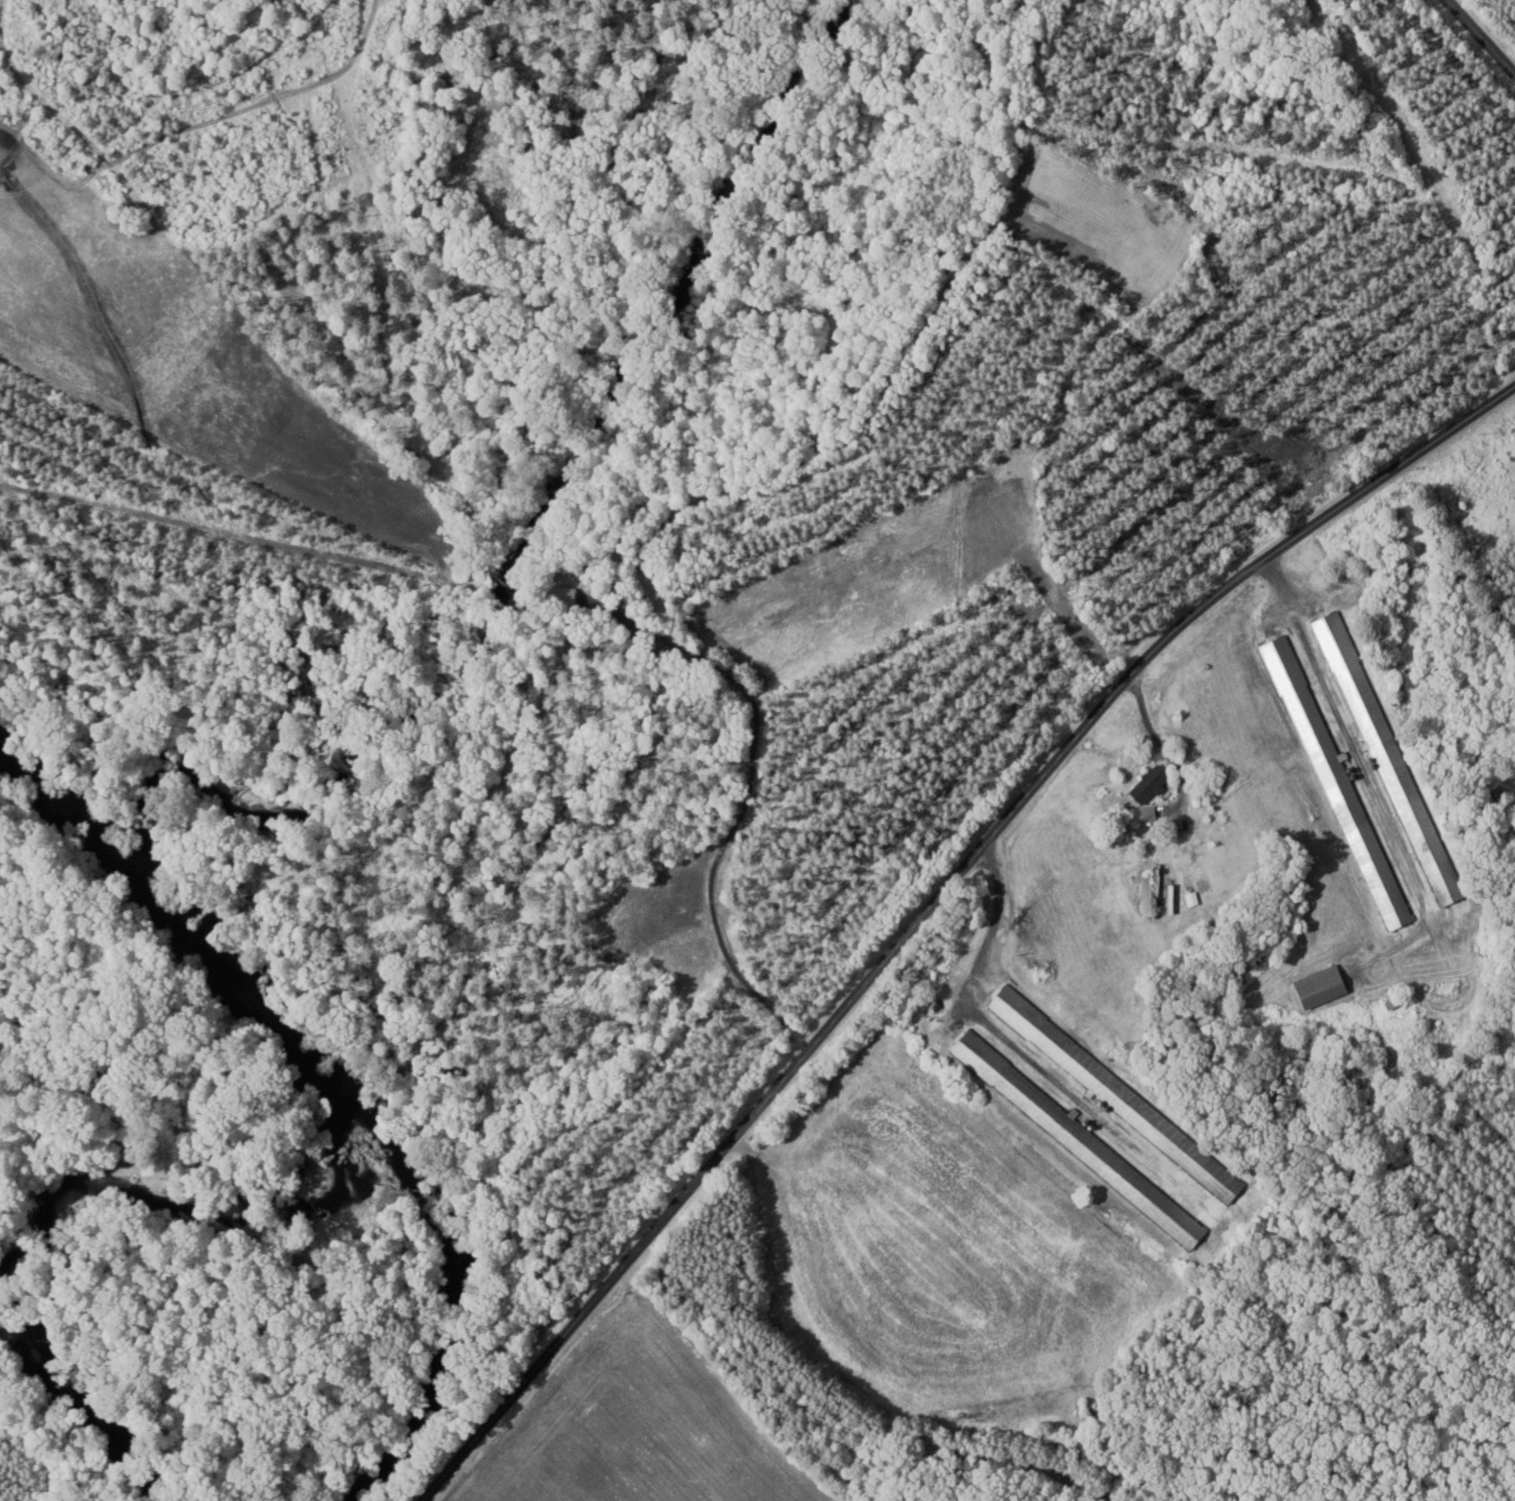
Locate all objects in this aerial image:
road: (1482, 34)
building: (1330, 643)
river: (56, 783)
building: (1144, 785)
building: (1414, 817)
road: (931, 901)
river: (228, 955)
building: (1314, 987)
building: (972, 1053)
river: (184, 1170)
building: (1175, 1233)

